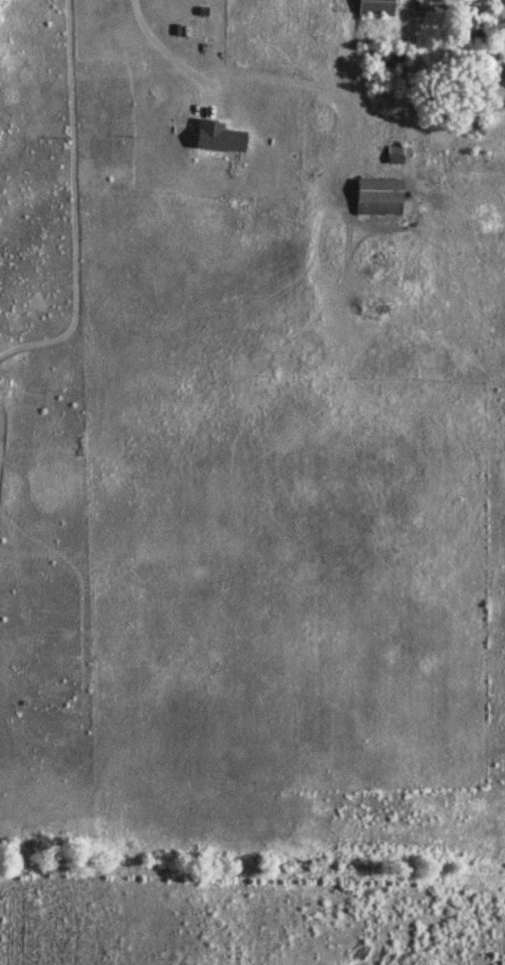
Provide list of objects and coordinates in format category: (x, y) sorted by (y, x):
building: (375, 6)
building: (466, 28)
road: (165, 47)
building: (393, 55)
building: (214, 137)
building: (376, 197)

